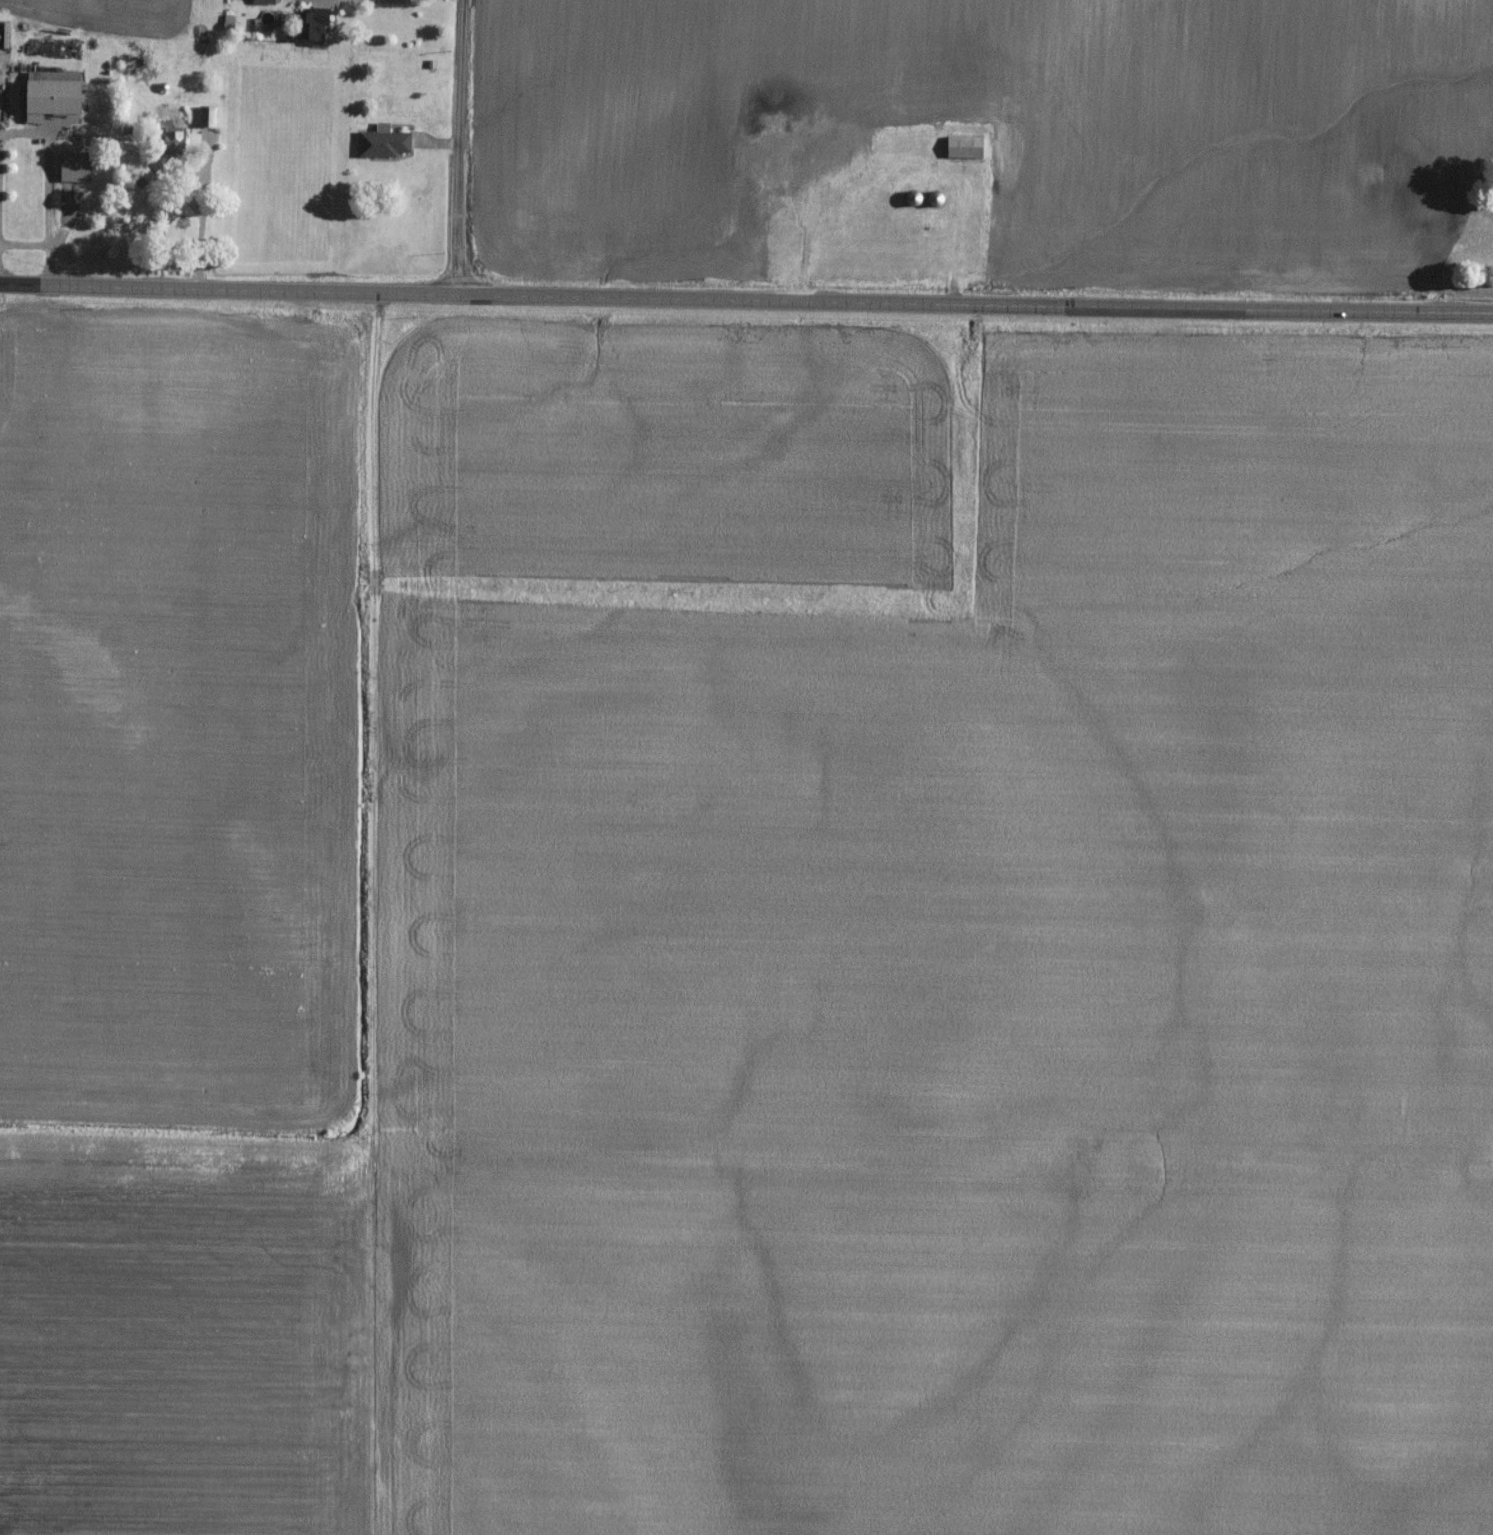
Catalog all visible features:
building: (264, 3)
road: (355, 7)
building: (315, 29)
building: (182, 84)
building: (53, 97)
building: (208, 118)
building: (175, 143)
building: (384, 145)
road: (460, 148)
building: (823, 149)
building: (965, 149)
building: (76, 169)
building: (936, 201)
building: (915, 203)
road: (201, 216)
road: (48, 226)
road: (804, 244)
road: (746, 304)

